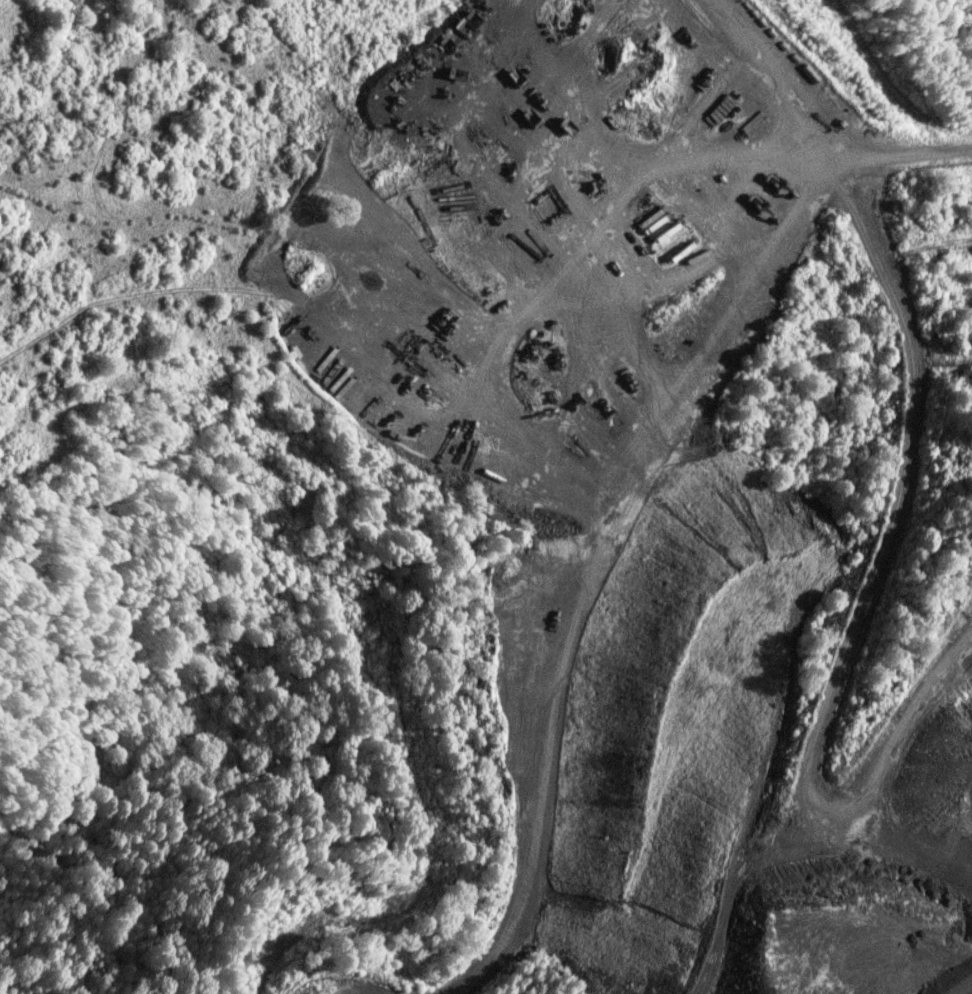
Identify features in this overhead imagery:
quarry: (667, 474)

